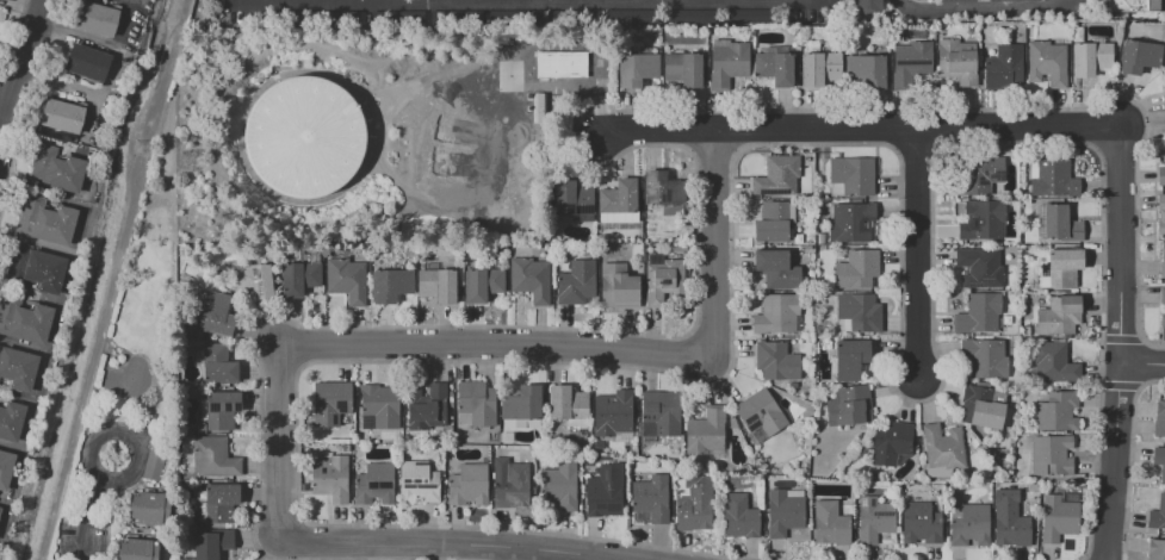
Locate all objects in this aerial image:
building: (956, 0)
building: (1004, 0)
road: (704, 1)
road: (365, 4)
road: (522, 5)
building: (867, 5)
building: (1133, 6)
road: (986, 8)
building: (688, 15)
building: (745, 15)
building: (627, 17)
building: (97, 19)
road: (14, 35)
building: (1139, 56)
building: (1091, 58)
building: (956, 61)
building: (88, 62)
building: (729, 63)
building: (911, 63)
building: (1047, 63)
building: (562, 64)
building: (775, 66)
building: (683, 67)
building: (1003, 67)
road: (20, 68)
building: (820, 68)
building: (639, 71)
building: (866, 73)
building: (1164, 89)
road: (14, 97)
road: (29, 104)
building: (62, 116)
road: (2, 120)
road: (742, 126)
road: (681, 127)
road: (855, 127)
road: (944, 127)
road: (892, 129)
building: (304, 138)
road: (8, 143)
road: (712, 145)
road: (917, 147)
power tower: (147, 150)
road: (731, 156)
power tower: (182, 164)
building: (56, 168)
road: (696, 170)
building: (848, 175)
building: (979, 175)
building: (1160, 175)
building: (777, 176)
building: (1053, 179)
building: (663, 189)
building: (572, 198)
building: (619, 198)
building: (1035, 201)
building: (1161, 213)
building: (983, 220)
building: (45, 222)
building: (773, 222)
building: (851, 223)
building: (1060, 224)
building: (822, 238)
road: (709, 242)
road: (913, 250)
building: (1161, 262)
building: (979, 267)
building: (776, 269)
building: (856, 269)
building: (1060, 269)
building: (36, 270)
building: (300, 275)
building: (529, 279)
building: (662, 279)
building: (347, 280)
building: (253, 281)
building: (576, 282)
building: (482, 284)
building: (438, 285)
building: (619, 285)
building: (391, 286)
building: (1163, 307)
building: (860, 312)
building: (978, 313)
building: (216, 315)
building: (776, 315)
building: (1058, 317)
building: (24, 321)
building: (1006, 321)
road: (1118, 337)
road: (1117, 343)
road: (491, 344)
building: (984, 357)
building: (849, 360)
building: (776, 361)
road: (1139, 361)
building: (1053, 362)
building: (217, 363)
road: (1140, 365)
building: (18, 368)
road: (1118, 385)
building: (330, 402)
building: (476, 404)
building: (379, 406)
building: (569, 406)
building: (849, 406)
building: (981, 406)
building: (427, 407)
building: (522, 409)
building: (203, 410)
building: (222, 410)
building: (1056, 411)
building: (760, 413)
building: (661, 415)
building: (613, 416)
building: (1159, 418)
building: (10, 421)
building: (706, 430)
road: (277, 441)
building: (891, 443)
building: (985, 443)
building: (973, 444)
building: (599, 446)
building: (675, 446)
building: (943, 446)
building: (345, 447)
road: (87, 452)
building: (1051, 455)
building: (213, 456)
road: (1128, 459)
building: (1159, 461)
building: (151, 463)
building: (5, 468)
building: (936, 472)
building: (329, 477)
building: (417, 483)
building: (510, 483)
building: (374, 484)
building: (469, 485)
building: (559, 486)
building: (996, 489)
building: (606, 492)
building: (650, 499)
building: (217, 504)
building: (694, 504)
building: (150, 508)
building: (0, 509)
building: (785, 511)
building: (1158, 515)
building: (739, 516)
road: (82, 517)
building: (1058, 518)
building: (874, 519)
building: (830, 523)
building: (921, 523)
building: (967, 524)
building: (1010, 525)
road: (448, 542)
building: (212, 543)
road: (498, 543)
road: (547, 546)
building: (138, 549)
building: (1155, 549)
road: (520, 554)

